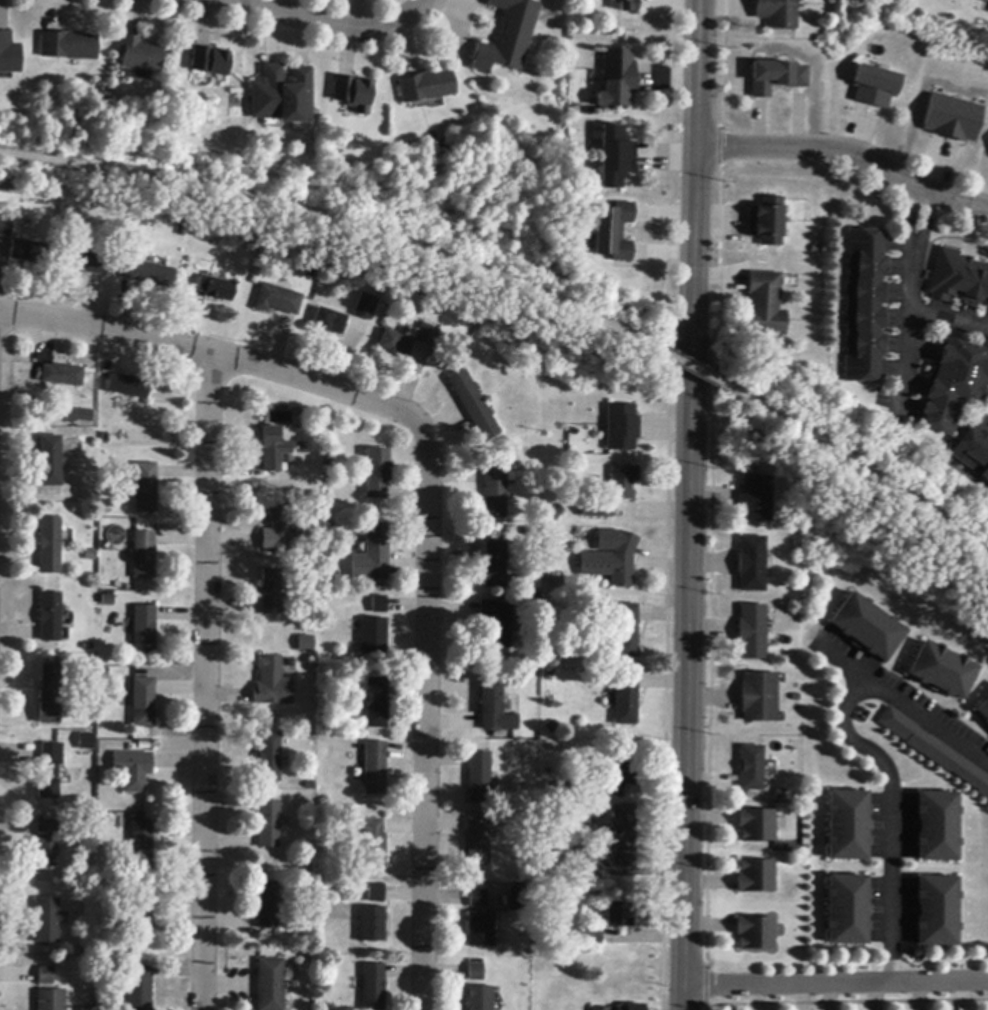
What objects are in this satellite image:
building: (985, 0)
building: (627, 6)
building: (778, 13)
building: (581, 17)
road: (330, 24)
building: (508, 37)
building: (68, 46)
building: (139, 54)
building: (9, 55)
building: (210, 61)
building: (777, 77)
building: (618, 79)
building: (876, 86)
building: (426, 87)
building: (352, 91)
building: (283, 95)
building: (954, 119)
road: (847, 153)
building: (616, 157)
building: (769, 222)
road: (342, 224)
building: (6, 226)
building: (615, 232)
building: (29, 252)
building: (84, 262)
building: (313, 270)
building: (149, 274)
building: (960, 278)
road: (911, 284)
building: (216, 289)
building: (278, 300)
building: (767, 306)
building: (868, 306)
building: (987, 306)
building: (366, 308)
road: (949, 321)
building: (330, 322)
building: (427, 336)
building: (396, 344)
road: (694, 368)
building: (63, 375)
building: (55, 386)
building: (955, 386)
building: (128, 387)
building: (474, 406)
building: (78, 415)
building: (624, 428)
building: (273, 450)
building: (975, 450)
road: (858, 461)
building: (50, 462)
building: (377, 473)
road: (841, 484)
building: (145, 488)
building: (614, 493)
building: (495, 494)
road: (425, 497)
building: (759, 499)
road: (690, 505)
building: (276, 529)
building: (49, 542)
building: (143, 555)
building: (373, 555)
building: (89, 556)
building: (613, 558)
building: (755, 564)
building: (495, 566)
building: (270, 592)
building: (379, 605)
building: (49, 617)
building: (497, 623)
building: (869, 625)
building: (143, 630)
building: (628, 631)
building: (755, 633)
building: (374, 637)
building: (306, 644)
building: (943, 669)
road: (206, 682)
building: (271, 684)
building: (49, 694)
building: (761, 698)
building: (627, 699)
road: (901, 702)
building: (142, 703)
building: (376, 703)
building: (495, 709)
building: (982, 709)
building: (552, 727)
building: (85, 742)
building: (933, 750)
building: (269, 758)
building: (376, 769)
building: (753, 769)
building: (132, 770)
building: (48, 772)
building: (622, 775)
building: (480, 778)
building: (579, 814)
road: (889, 817)
building: (846, 824)
building: (269, 825)
building: (937, 825)
building: (758, 826)
building: (625, 837)
building: (479, 842)
building: (46, 844)
building: (375, 844)
building: (141, 845)
building: (579, 864)
building: (757, 877)
building: (377, 893)
building: (479, 899)
building: (518, 900)
building: (268, 906)
building: (845, 908)
building: (935, 909)
building: (142, 914)
building: (620, 915)
building: (47, 921)
building: (372, 924)
building: (481, 929)
building: (755, 933)
building: (593, 937)
building: (477, 972)
building: (45, 976)
building: (270, 984)
road: (834, 984)
building: (374, 987)
building: (138, 989)
building: (481, 998)
building: (50, 1000)
building: (633, 1007)
building: (602, 1009)

